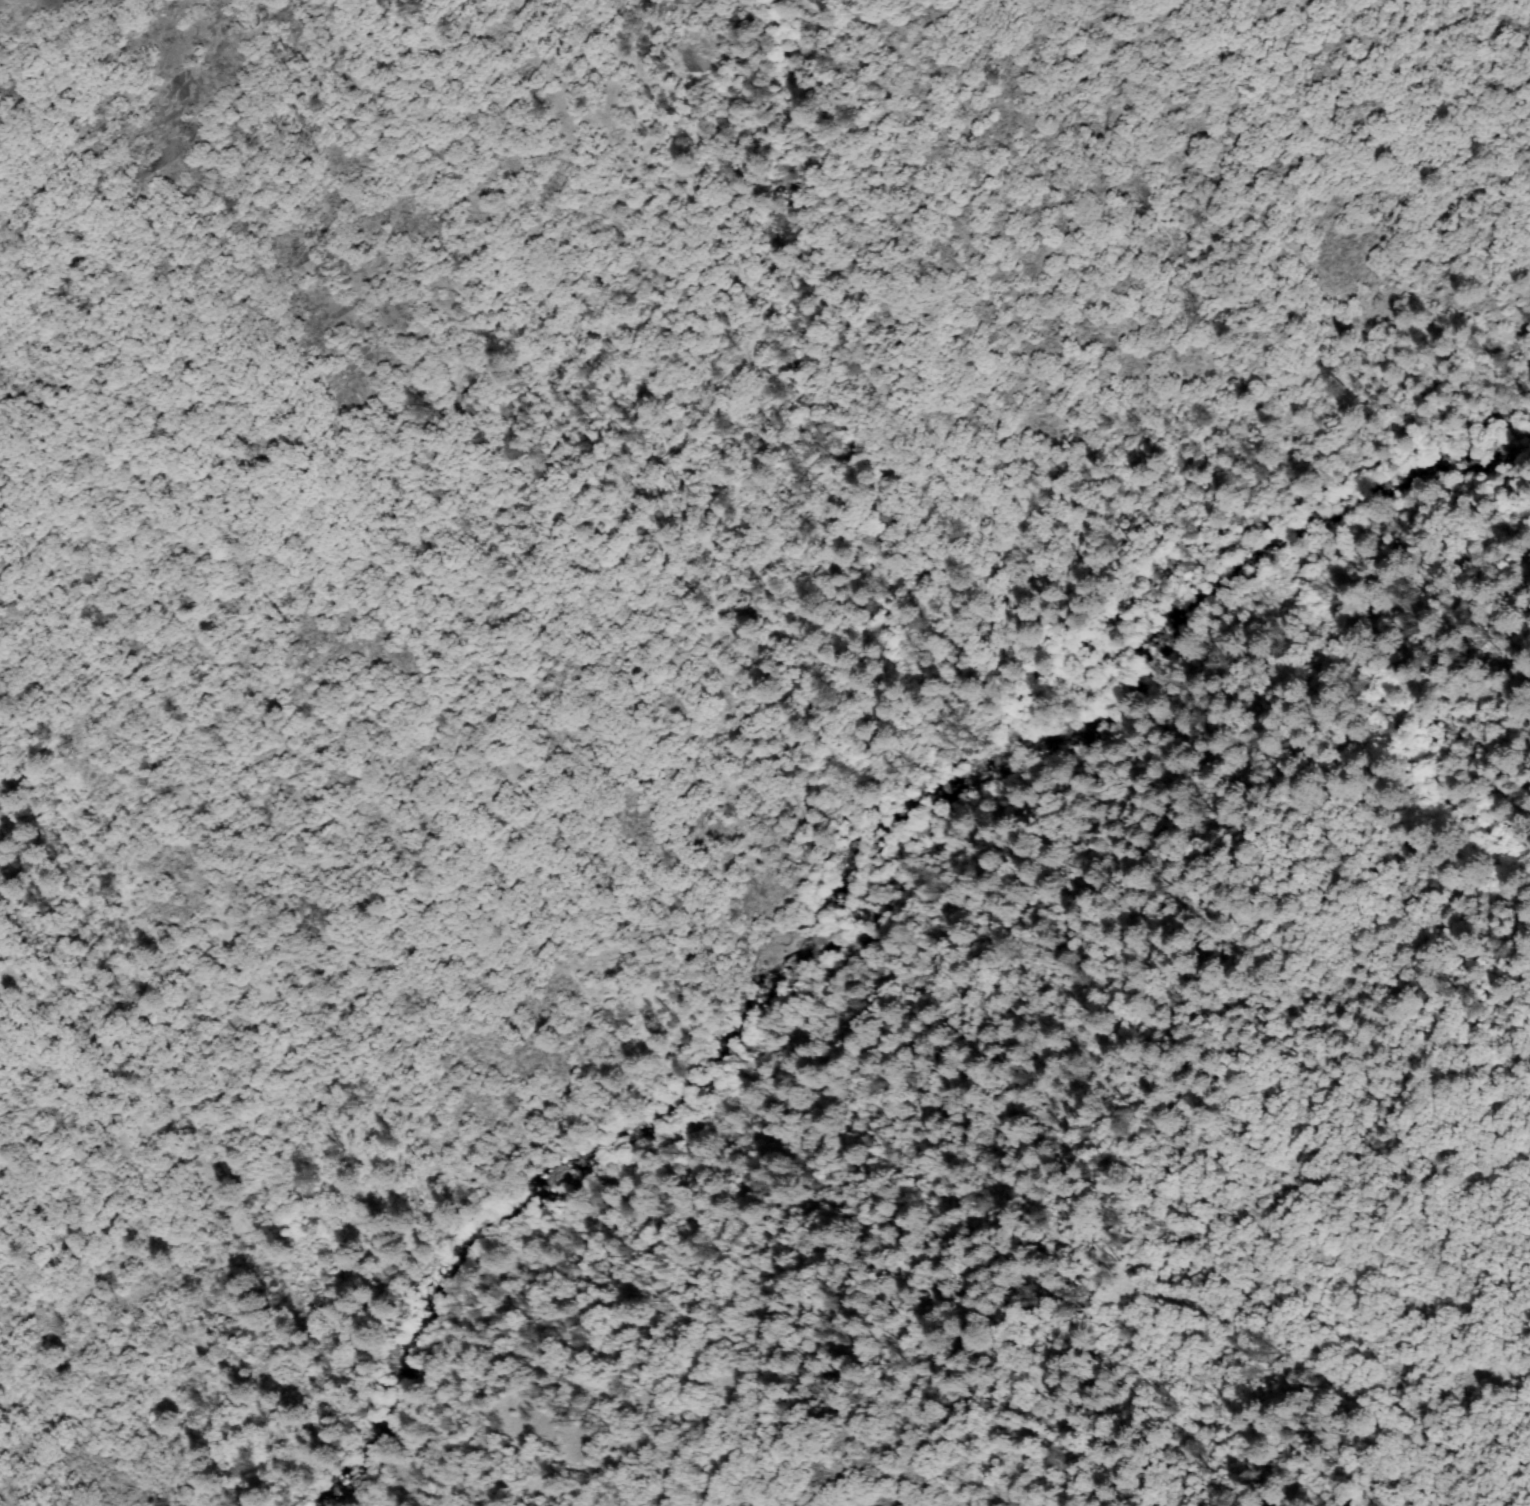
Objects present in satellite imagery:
river: (866, 898)

